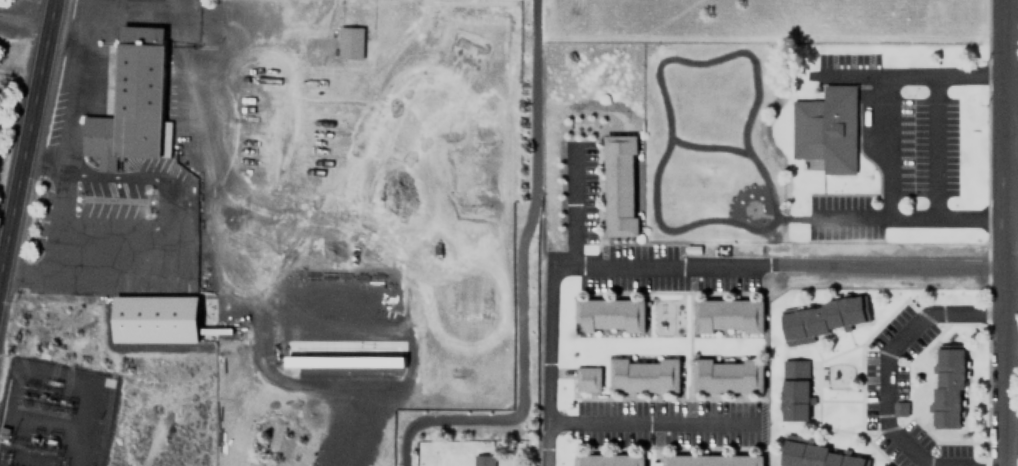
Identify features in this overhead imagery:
building: (348, 41)
building: (129, 100)
building: (825, 128)
road: (28, 139)
building: (618, 184)
road: (1002, 233)
road: (1010, 268)
road: (506, 291)
building: (608, 314)
building: (727, 315)
building: (820, 317)
building: (164, 318)
building: (350, 359)
building: (727, 374)
building: (643, 375)
building: (586, 378)
building: (947, 385)
building: (793, 389)
power substation: (52, 414)
building: (819, 455)
building: (598, 458)
building: (481, 459)
building: (710, 460)

